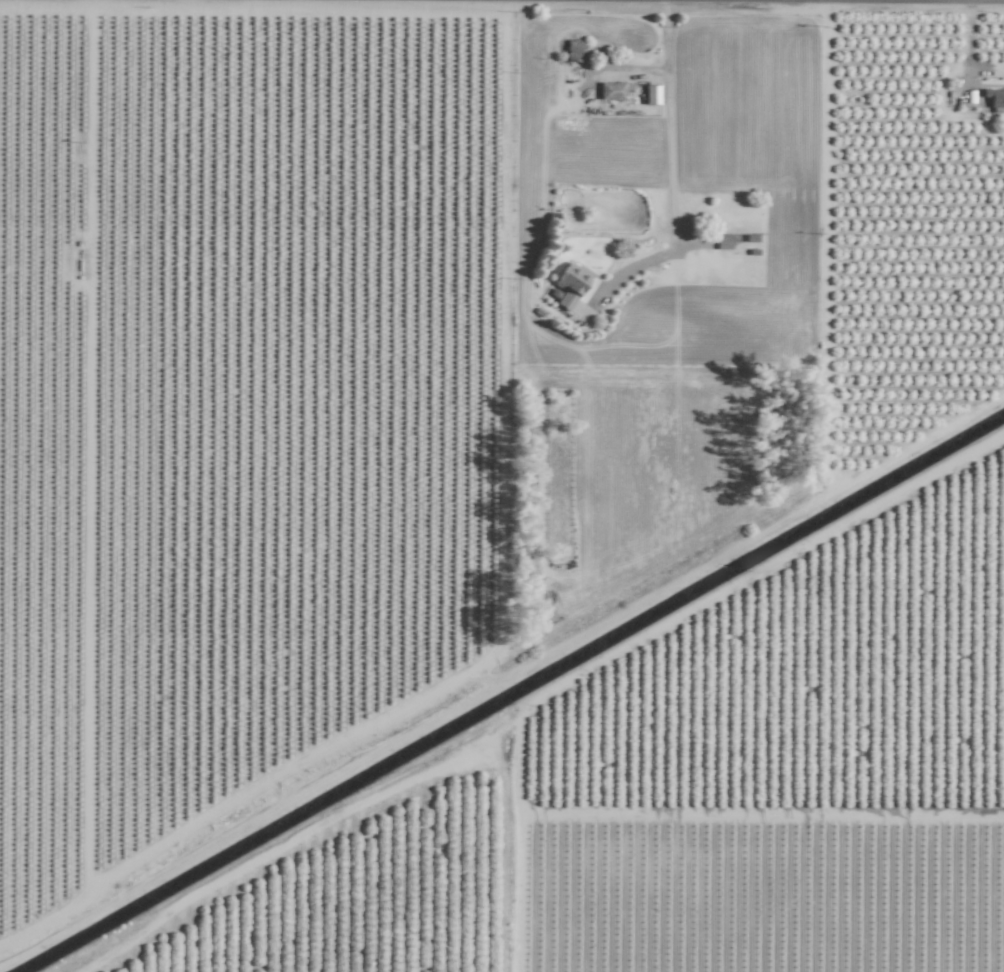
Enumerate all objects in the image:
road: (968, 47)
building: (612, 91)
building: (652, 95)
building: (995, 99)
road: (669, 119)
building: (724, 241)
building: (570, 286)

